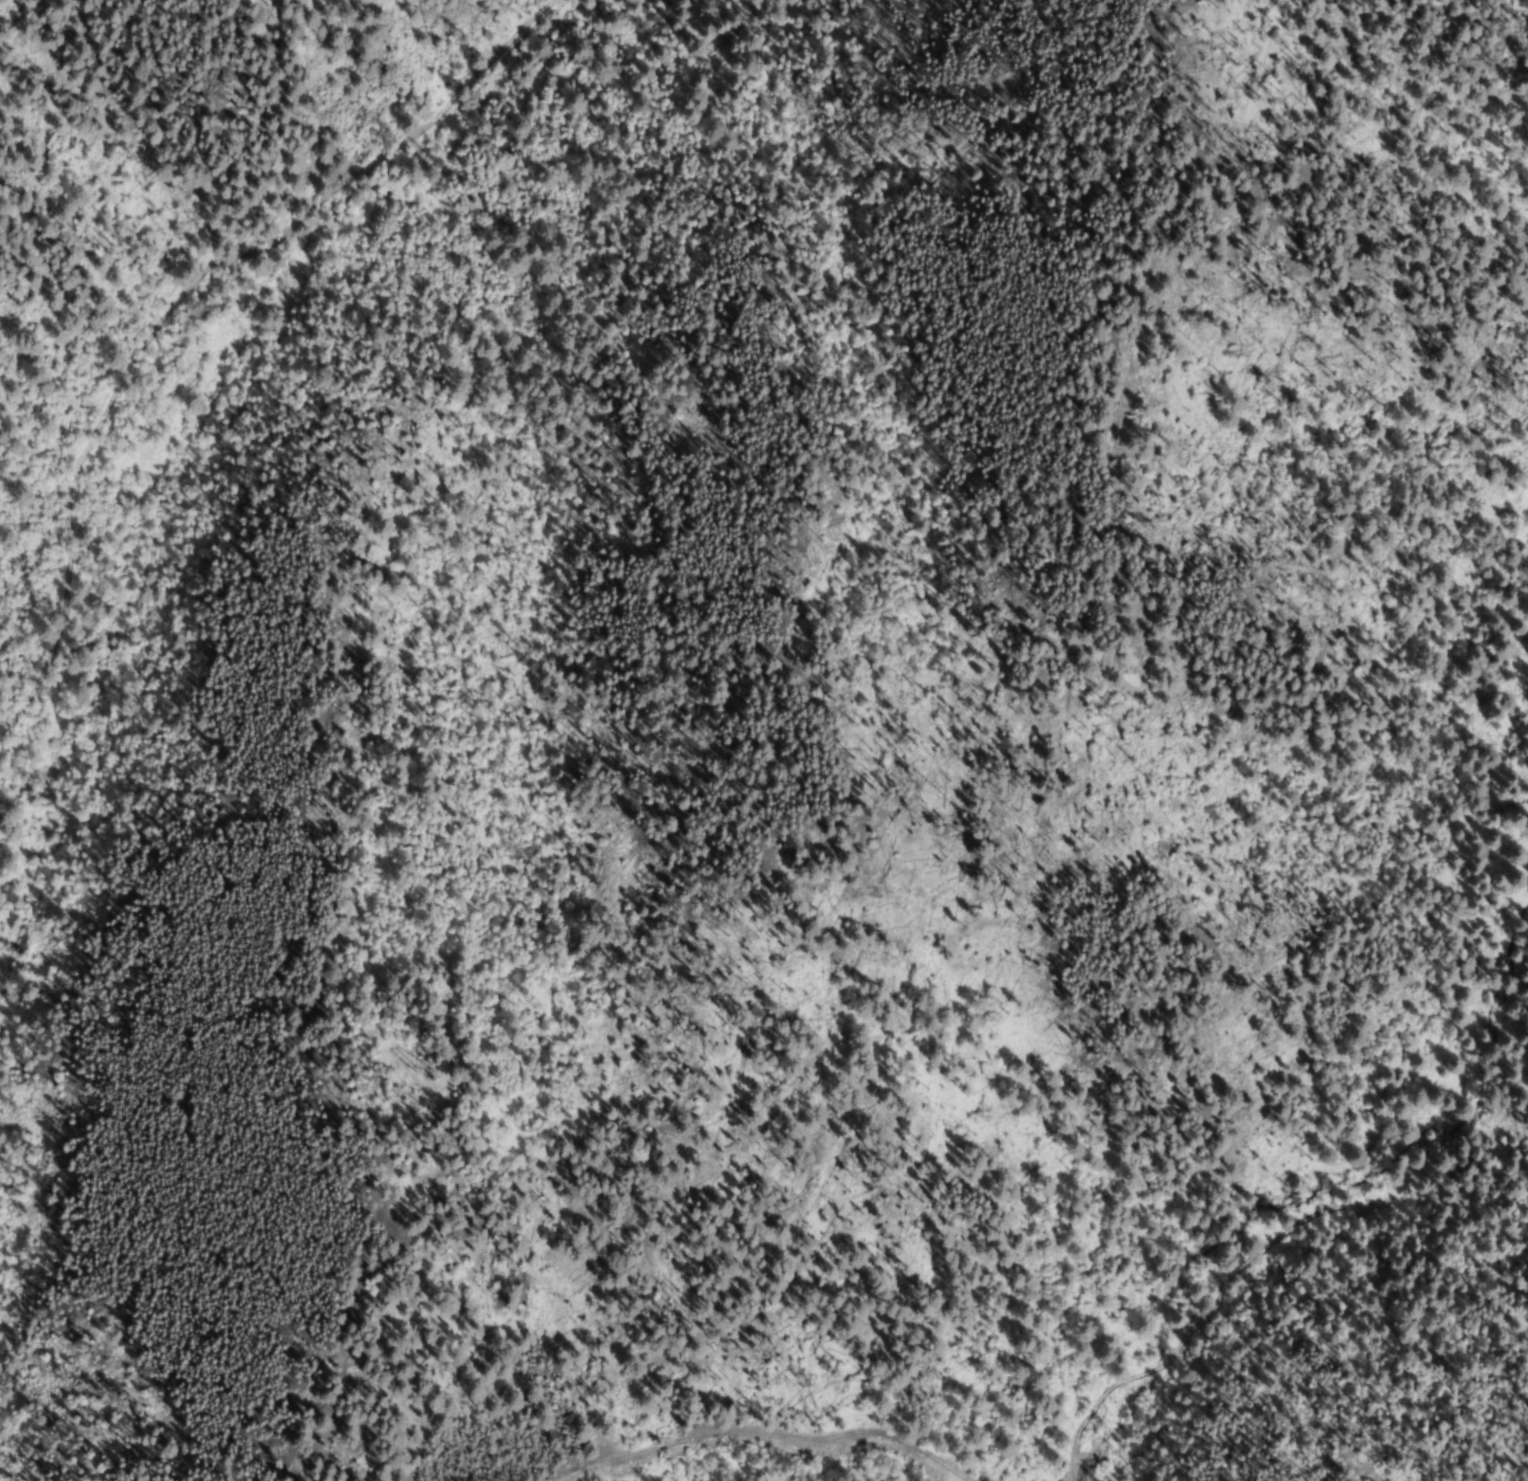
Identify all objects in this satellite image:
road: (1093, 1409)
road: (763, 1435)

